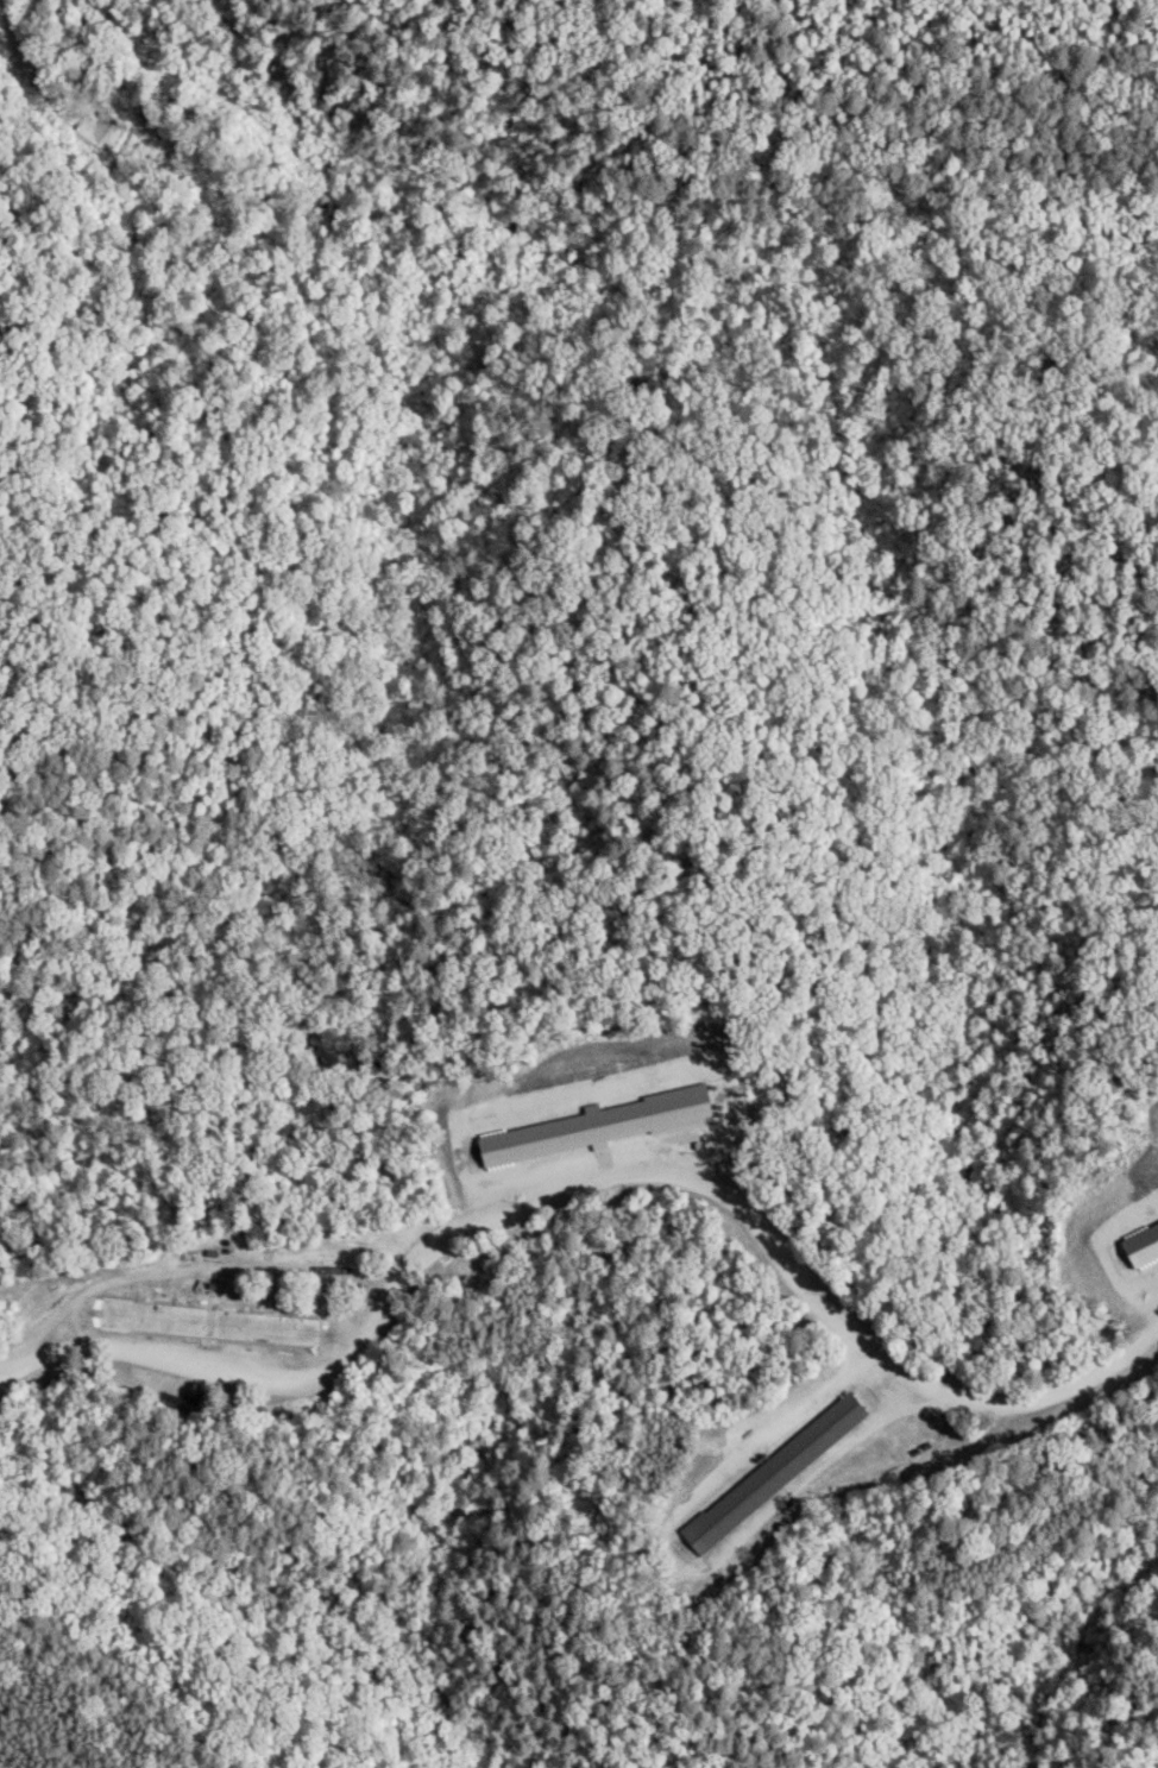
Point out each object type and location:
road: (25, 59)
building: (597, 1126)
road: (603, 1175)
building: (1141, 1244)
building: (208, 1322)
building: (774, 1473)

